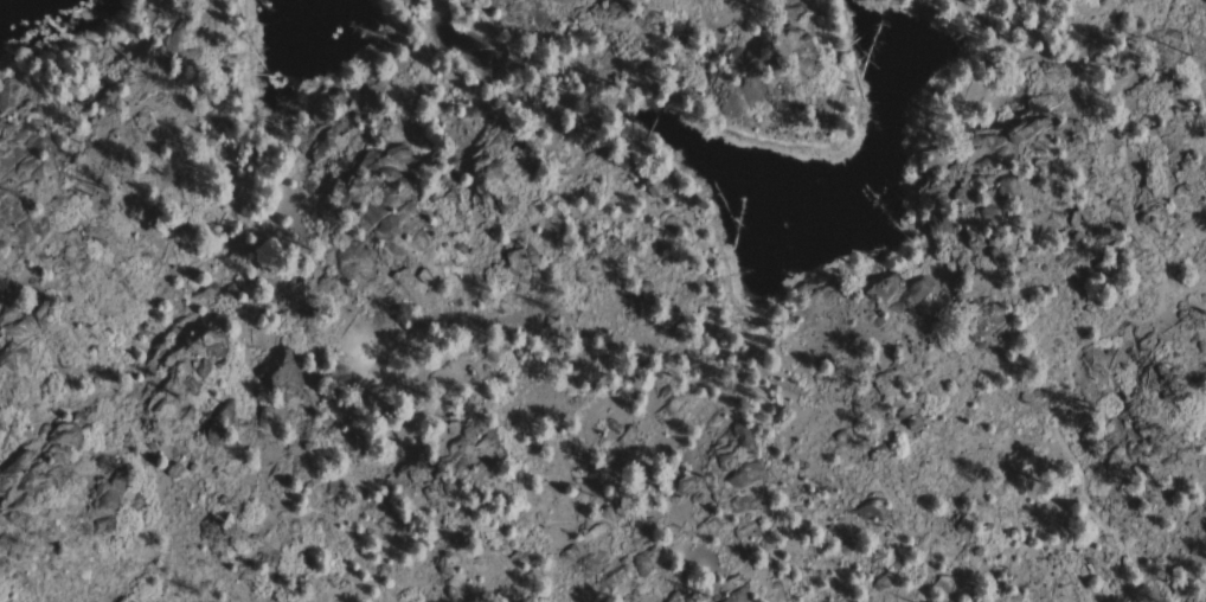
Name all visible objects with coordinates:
road: (1149, 320)

